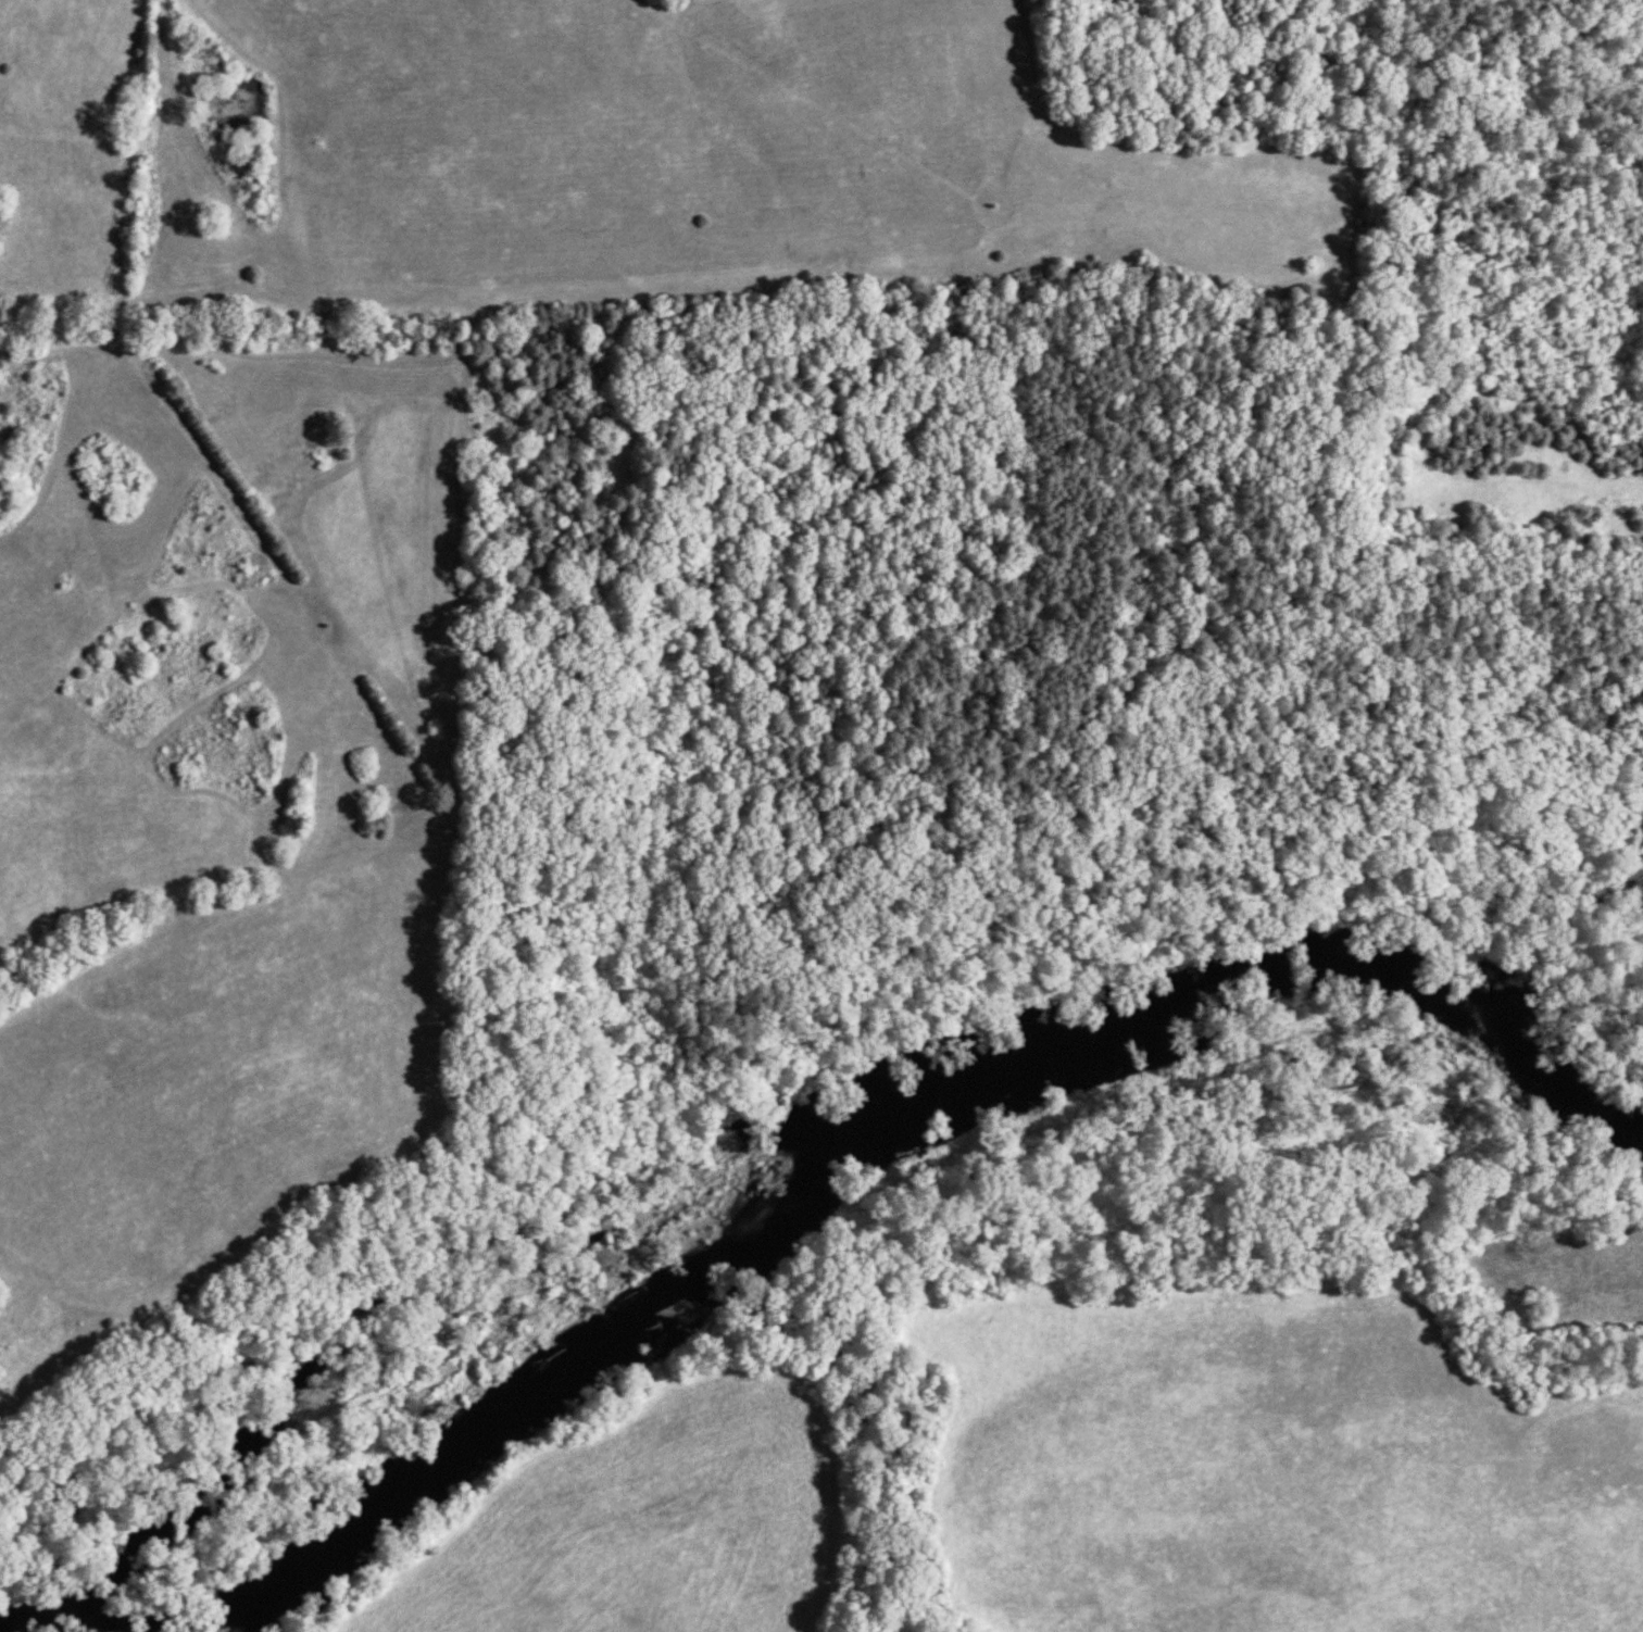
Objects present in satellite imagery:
road: (152, 48)
river: (820, 1188)

